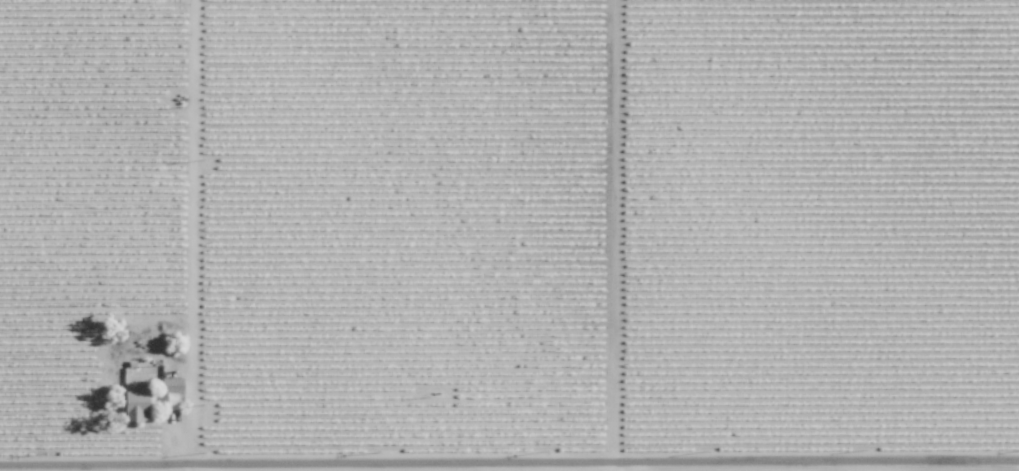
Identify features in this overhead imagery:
building: (137, 405)
road: (509, 468)
road: (610, 469)

